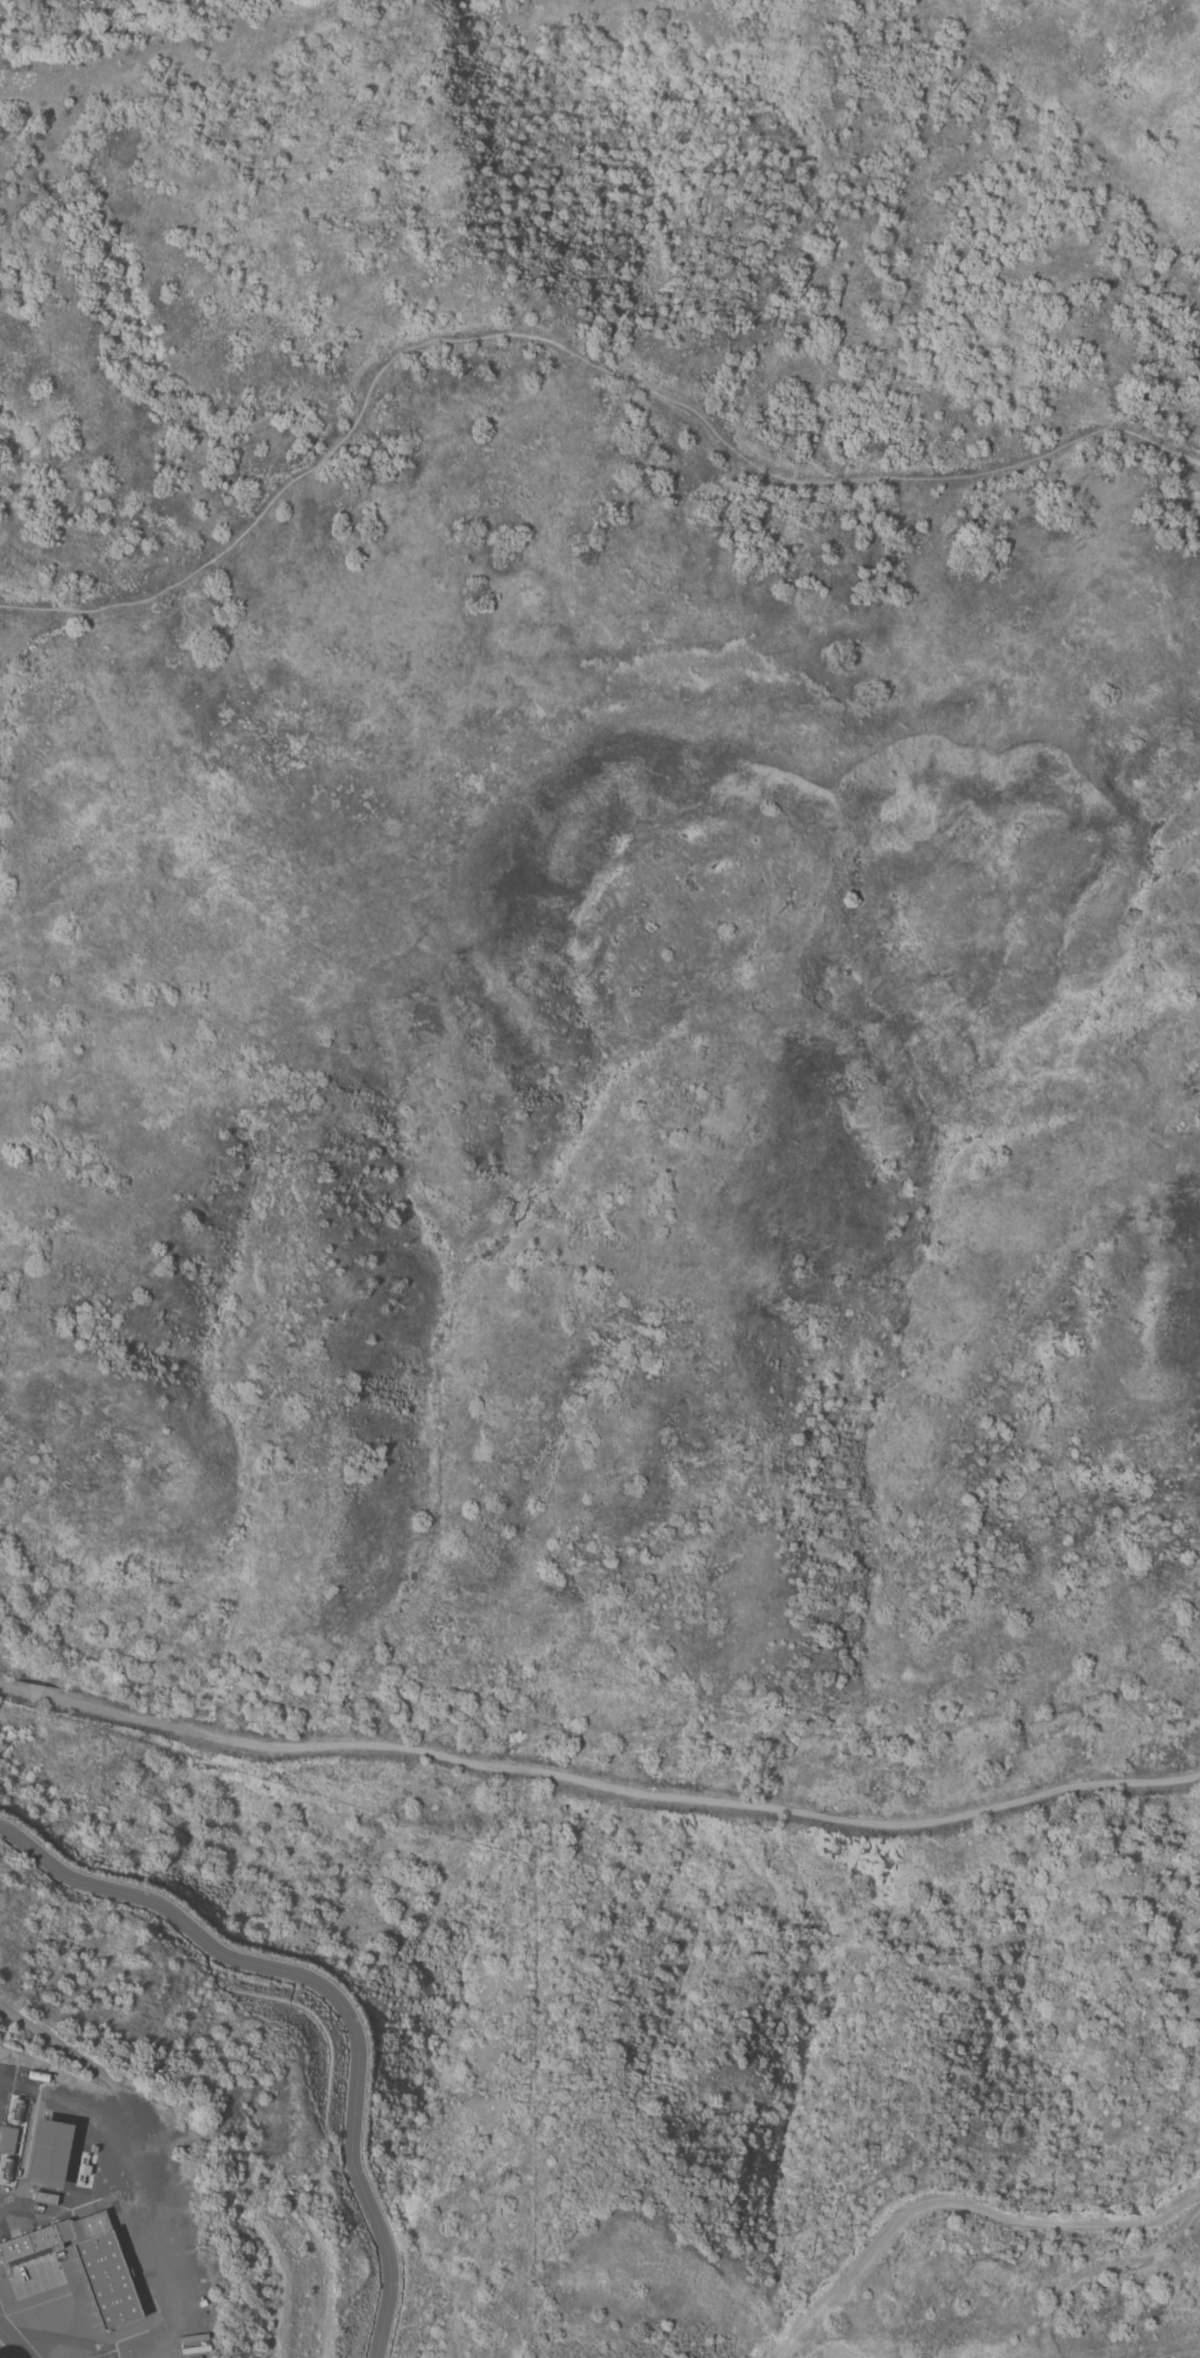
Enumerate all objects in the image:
road: (5, 1688)
road: (19, 1690)
road: (34, 1694)
road: (49, 1696)
road: (627, 1790)
road: (333, 1993)
building: (7, 2141)
building: (50, 2155)
road: (963, 2207)
building: (85, 2264)
road: (9, 2352)

